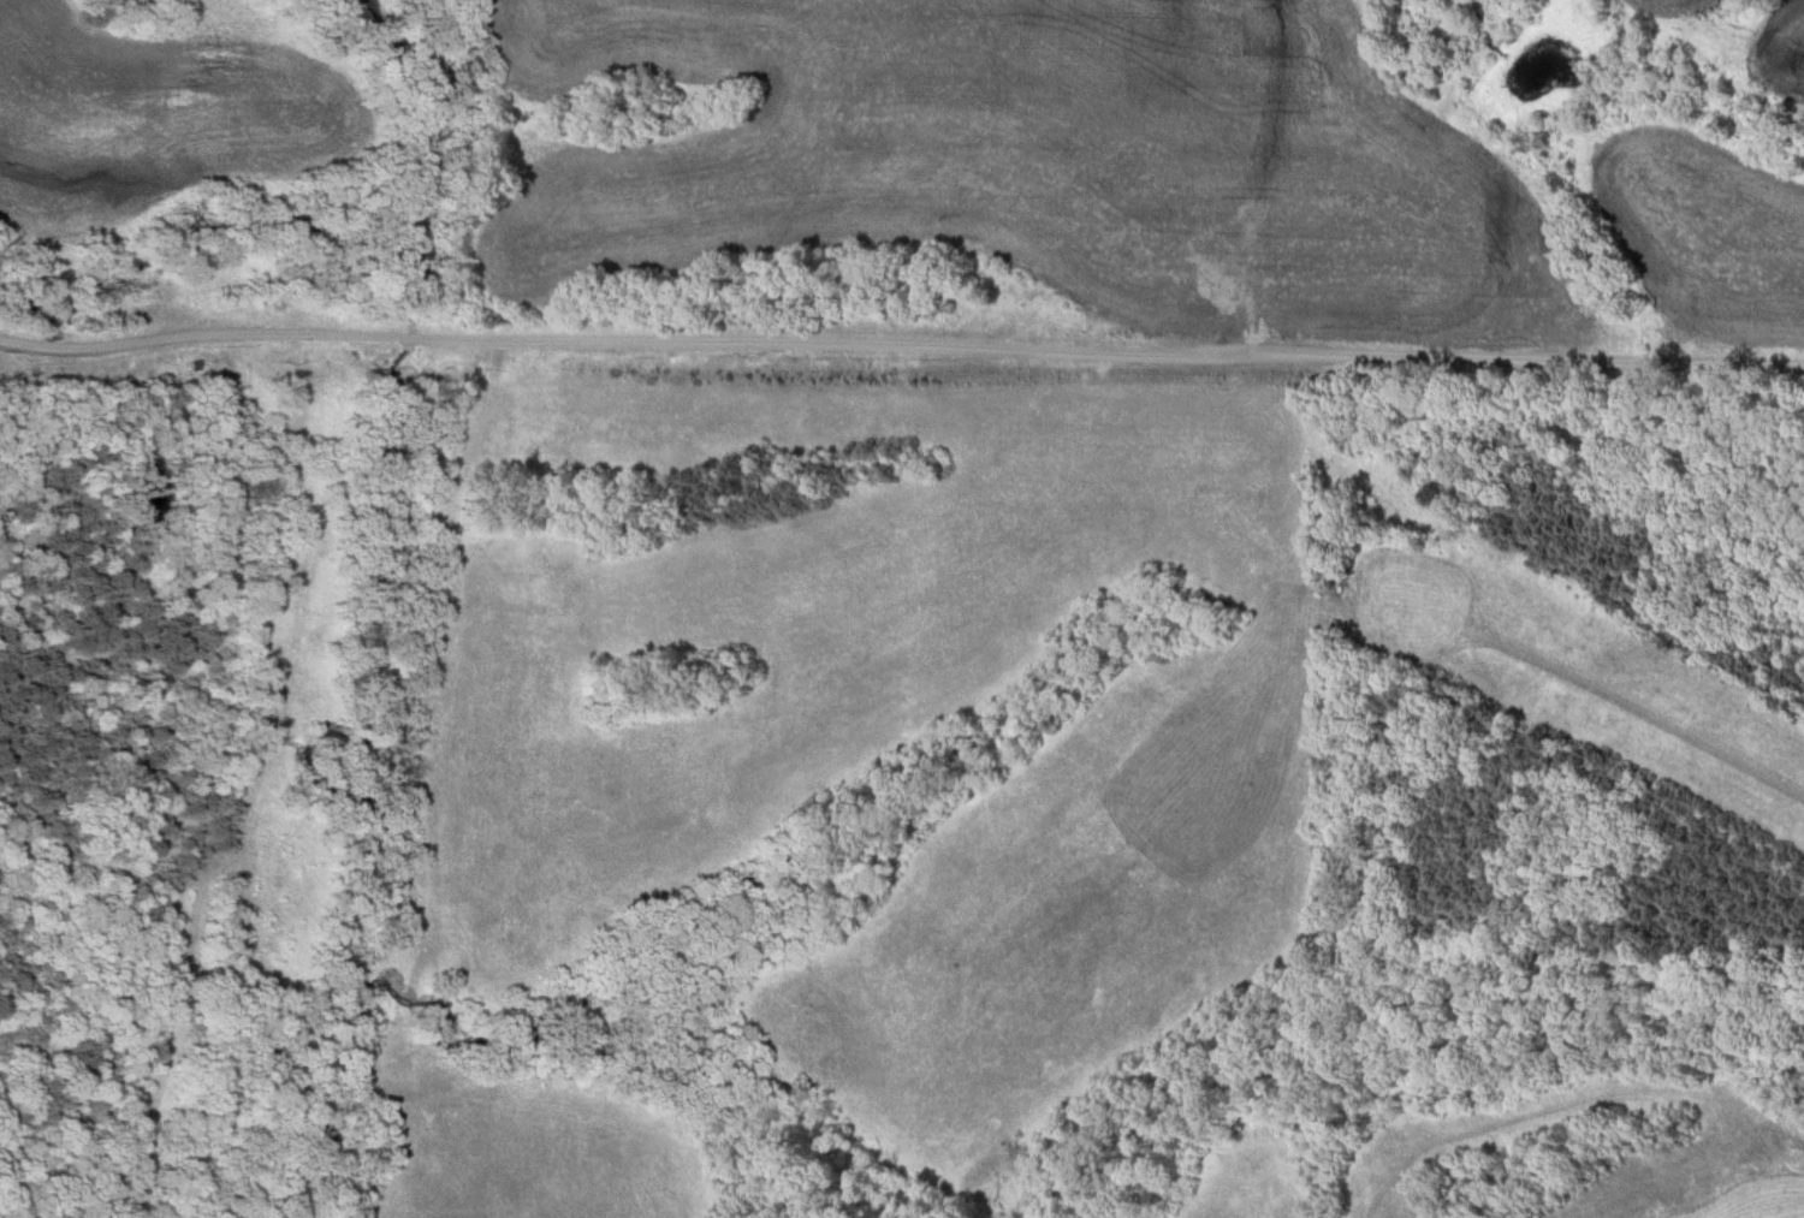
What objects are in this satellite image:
road: (901, 346)

